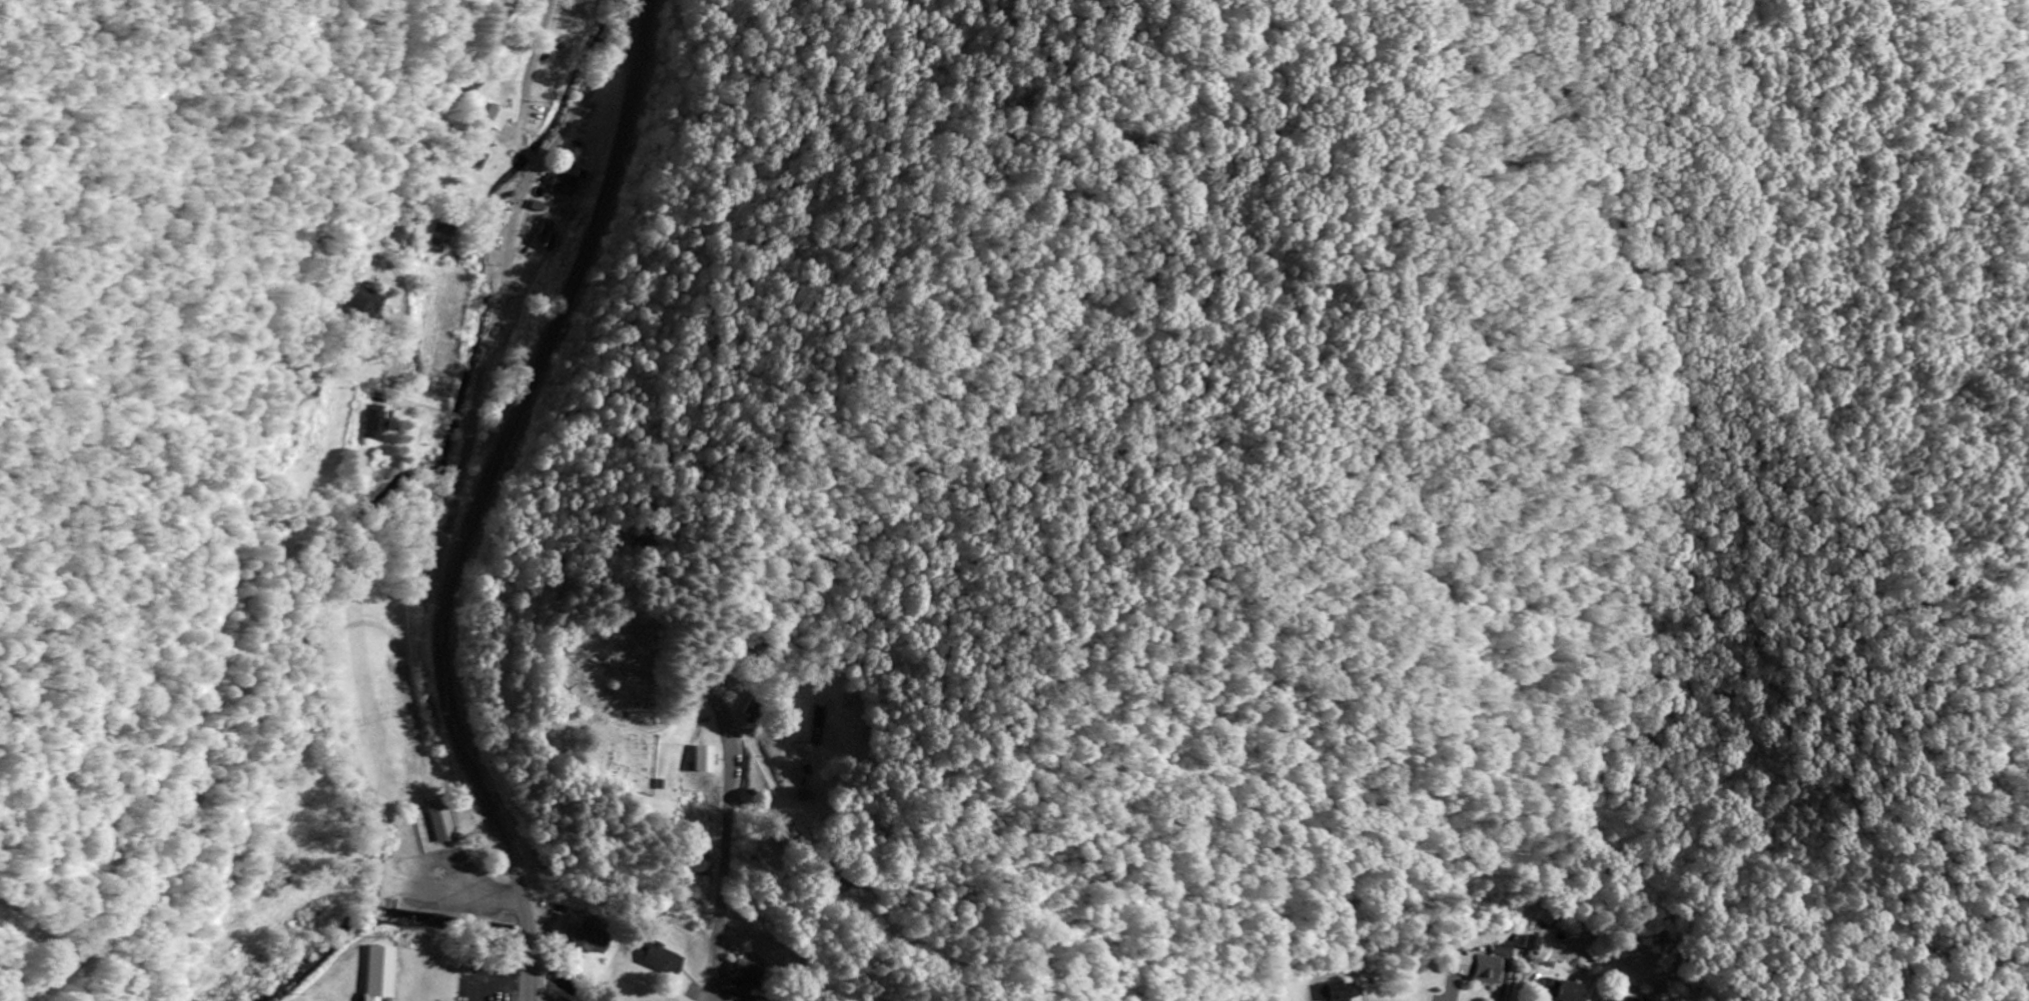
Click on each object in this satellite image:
road: (526, 84)
building: (497, 119)
building: (479, 159)
building: (566, 184)
building: (549, 236)
building: (444, 238)
road: (571, 286)
road: (488, 360)
building: (380, 423)
road: (445, 571)
building: (706, 760)
road: (480, 782)
building: (446, 823)
road: (726, 827)
building: (698, 866)
building: (585, 937)
building: (1536, 944)
building: (665, 961)
building: (1459, 966)
building: (1488, 971)
building: (380, 972)
building: (750, 975)
road: (509, 985)
building: (1564, 991)
building: (1341, 992)
building: (1610, 999)

